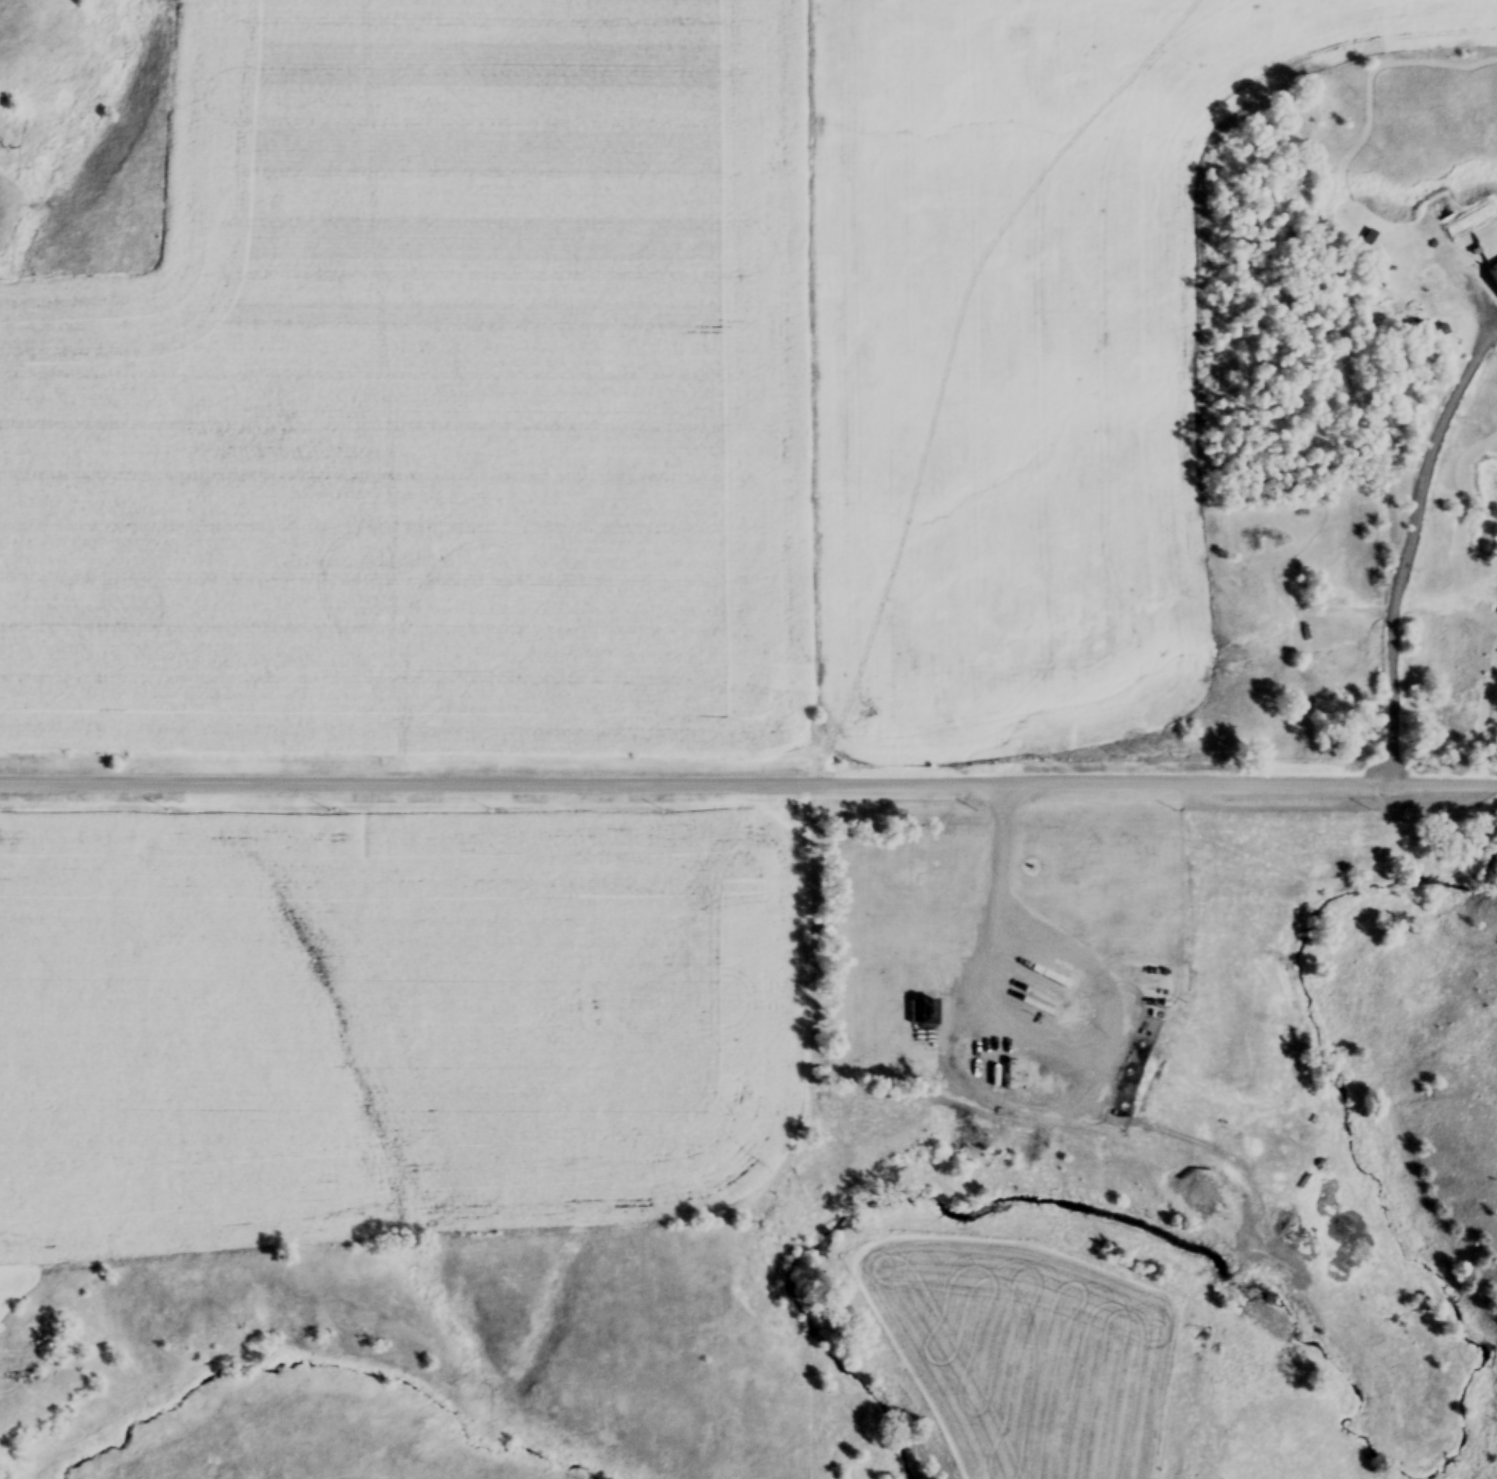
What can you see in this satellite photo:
road: (1490, 777)
road: (741, 778)
building: (1028, 867)
road: (998, 900)
building: (920, 1014)

